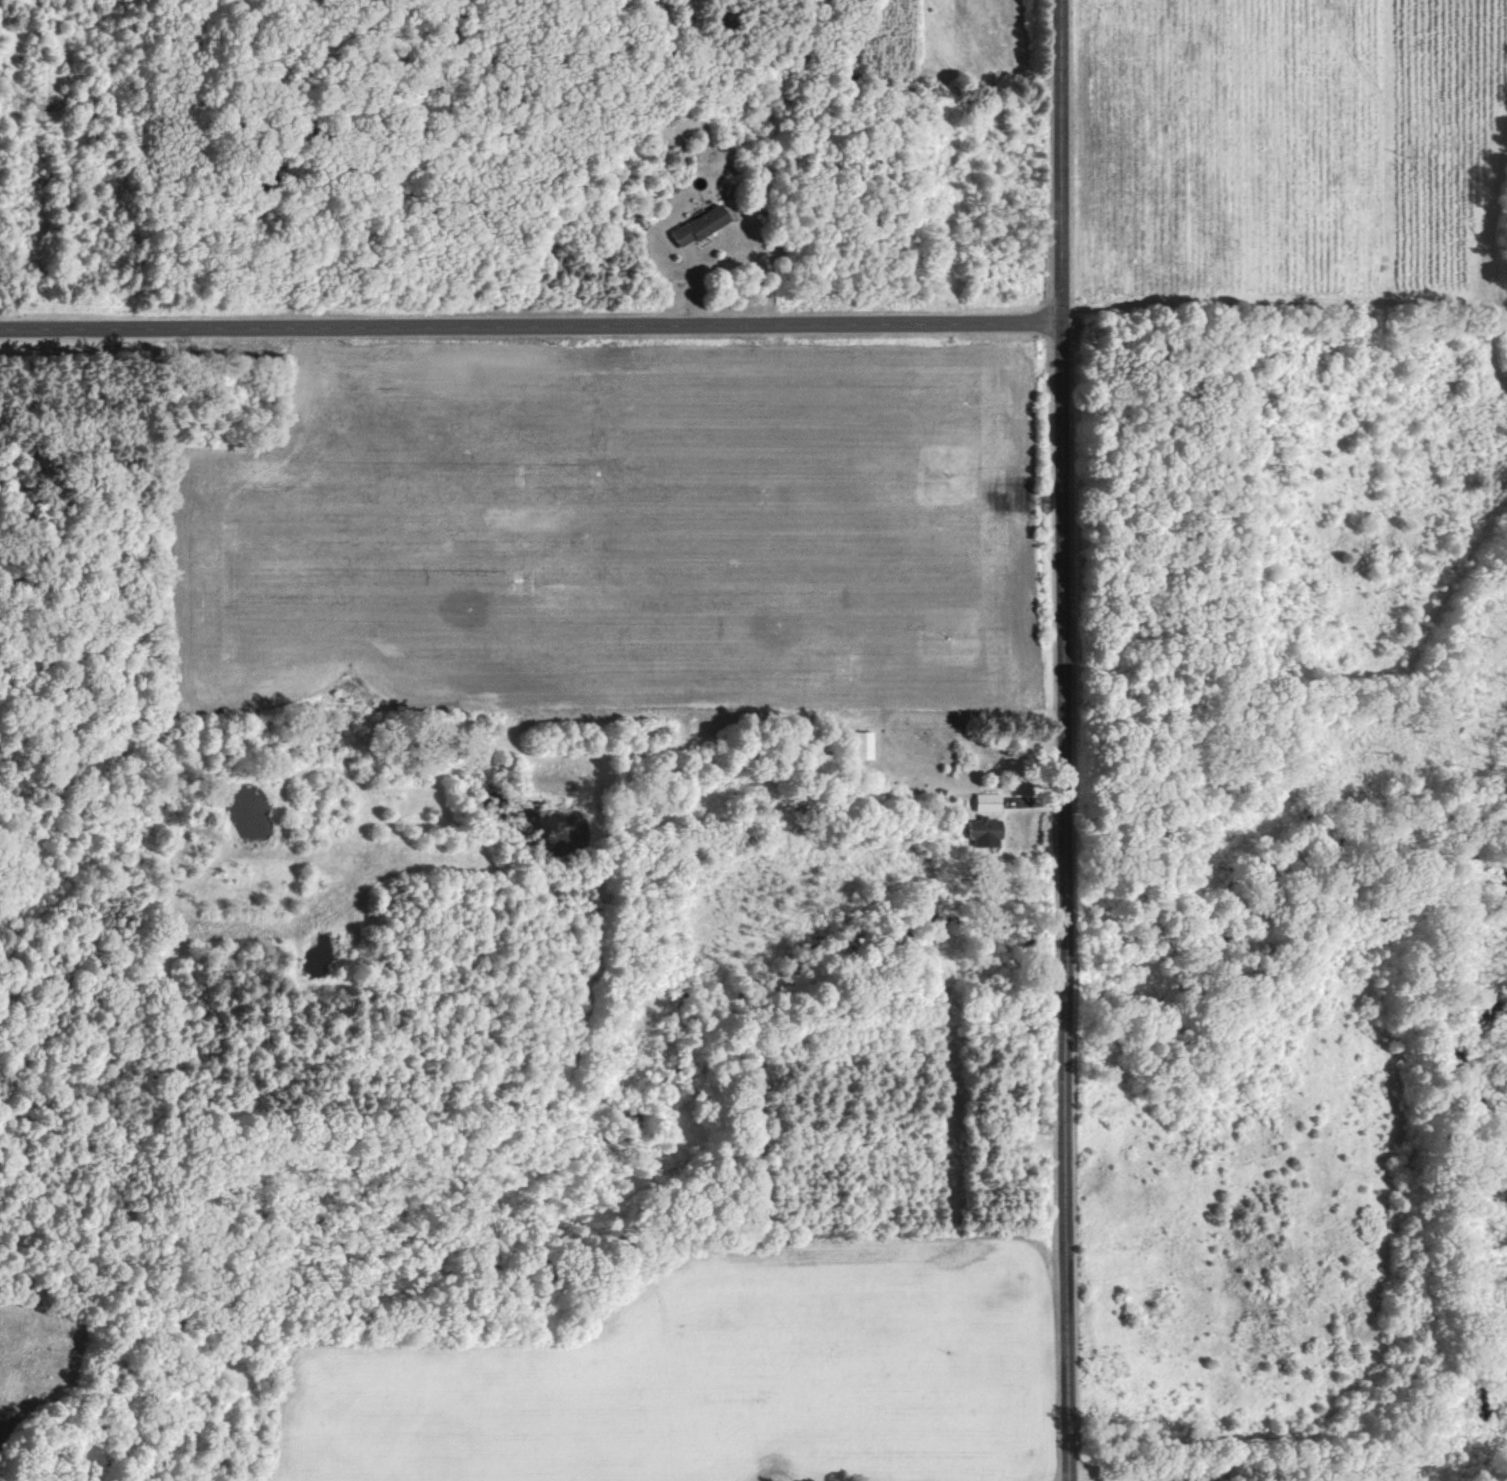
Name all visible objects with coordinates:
building: (701, 225)
road: (531, 328)
road: (1063, 740)
building: (863, 744)
building: (987, 801)
building: (984, 831)

